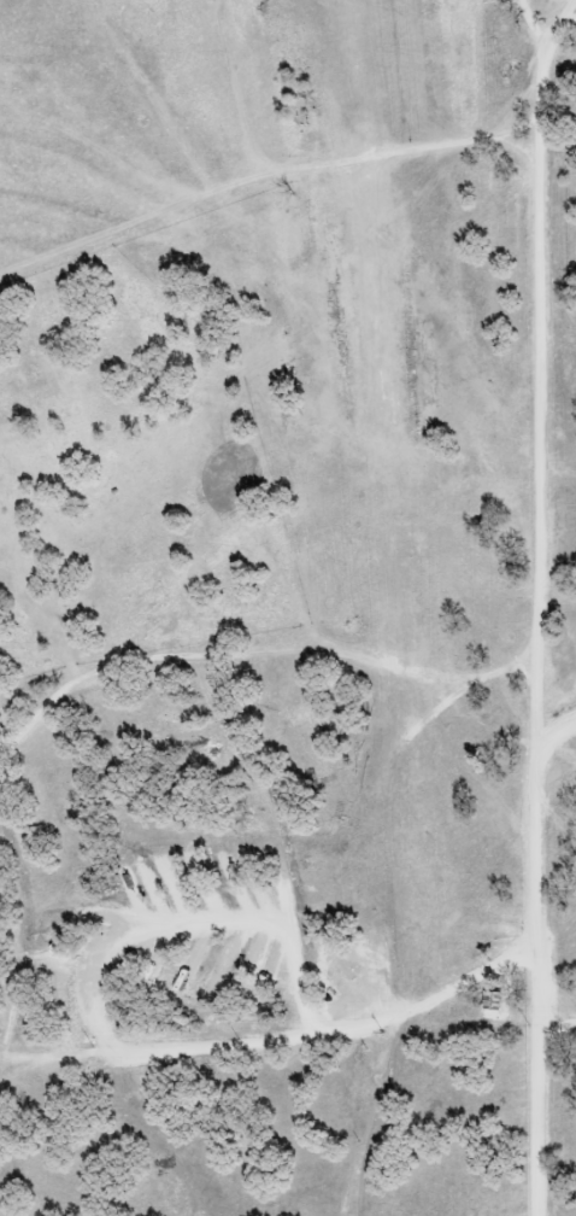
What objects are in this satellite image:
road: (563, 21)
airport runway: (339, 185)
road: (527, 603)
road: (552, 733)
road: (551, 1023)

